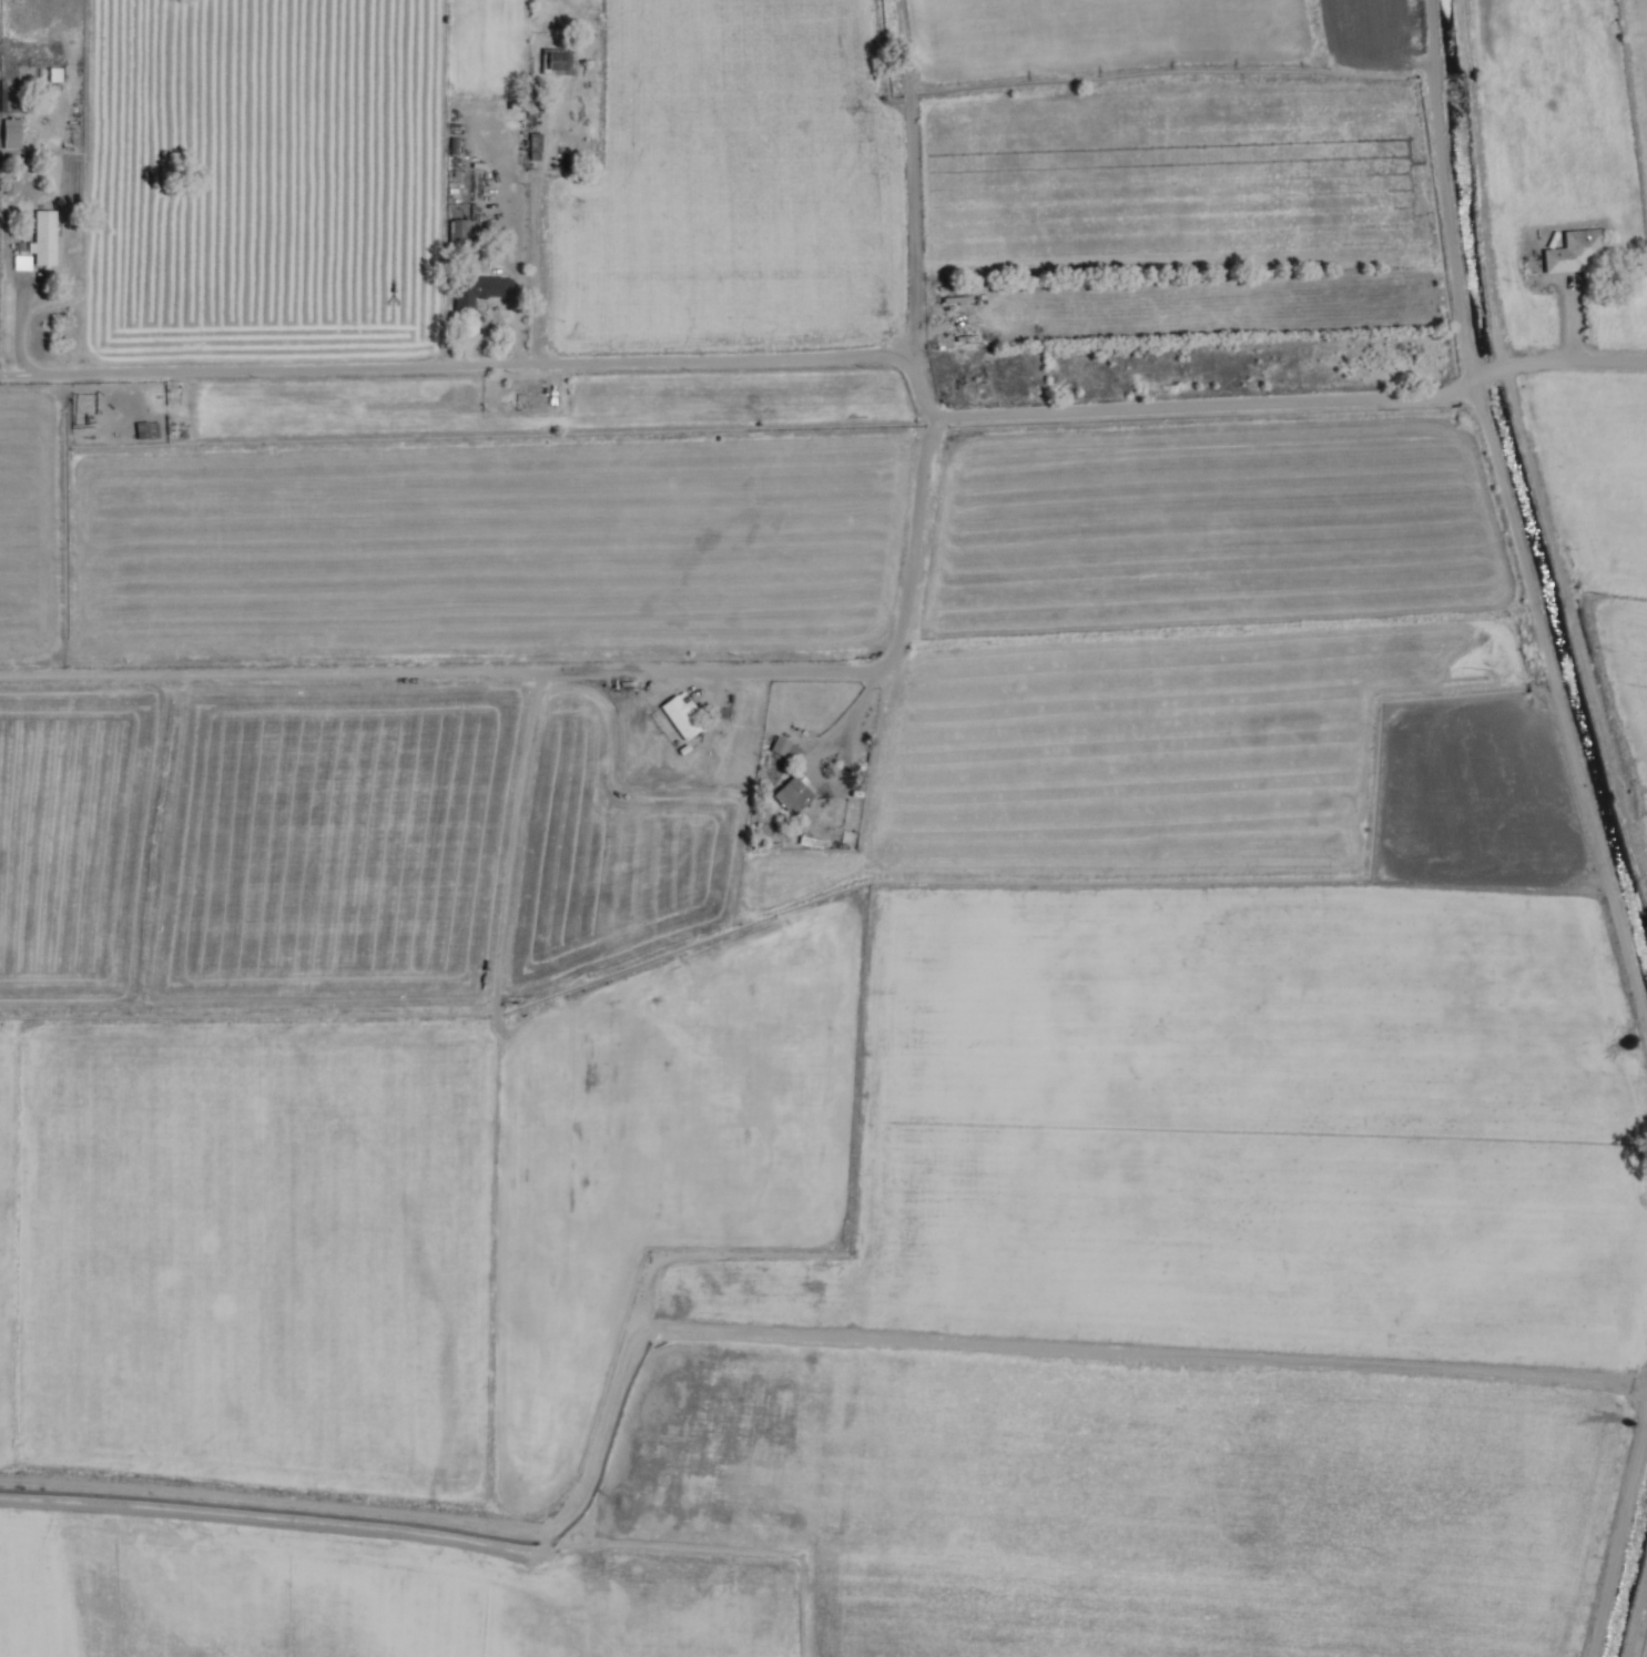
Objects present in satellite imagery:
building: (563, 61)
building: (11, 131)
building: (533, 144)
building: (458, 231)
road: (537, 231)
building: (47, 240)
building: (1575, 252)
building: (482, 291)
building: (955, 301)
building: (966, 339)
road: (487, 366)
road: (1047, 414)
building: (146, 428)
building: (680, 716)
building: (785, 750)
building: (794, 795)

